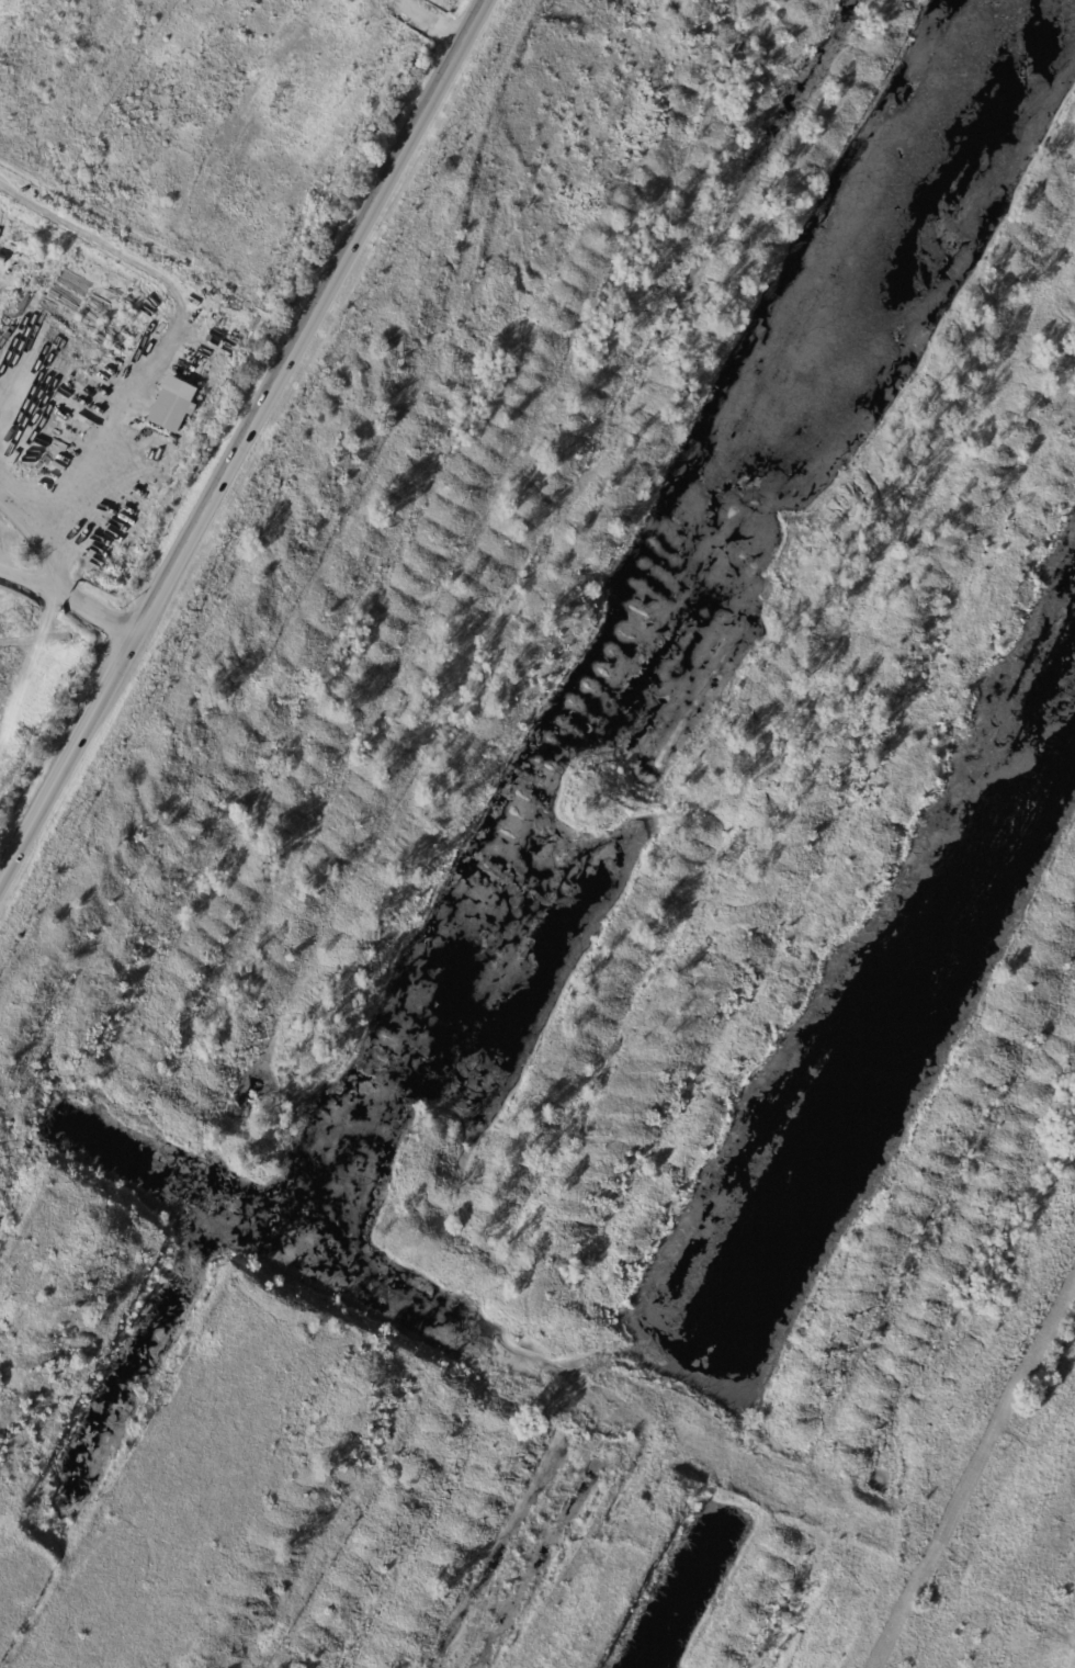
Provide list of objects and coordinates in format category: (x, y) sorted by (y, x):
road: (167, 343)
building: (171, 404)
road: (246, 447)
road: (34, 541)
road: (27, 577)
road: (99, 612)

